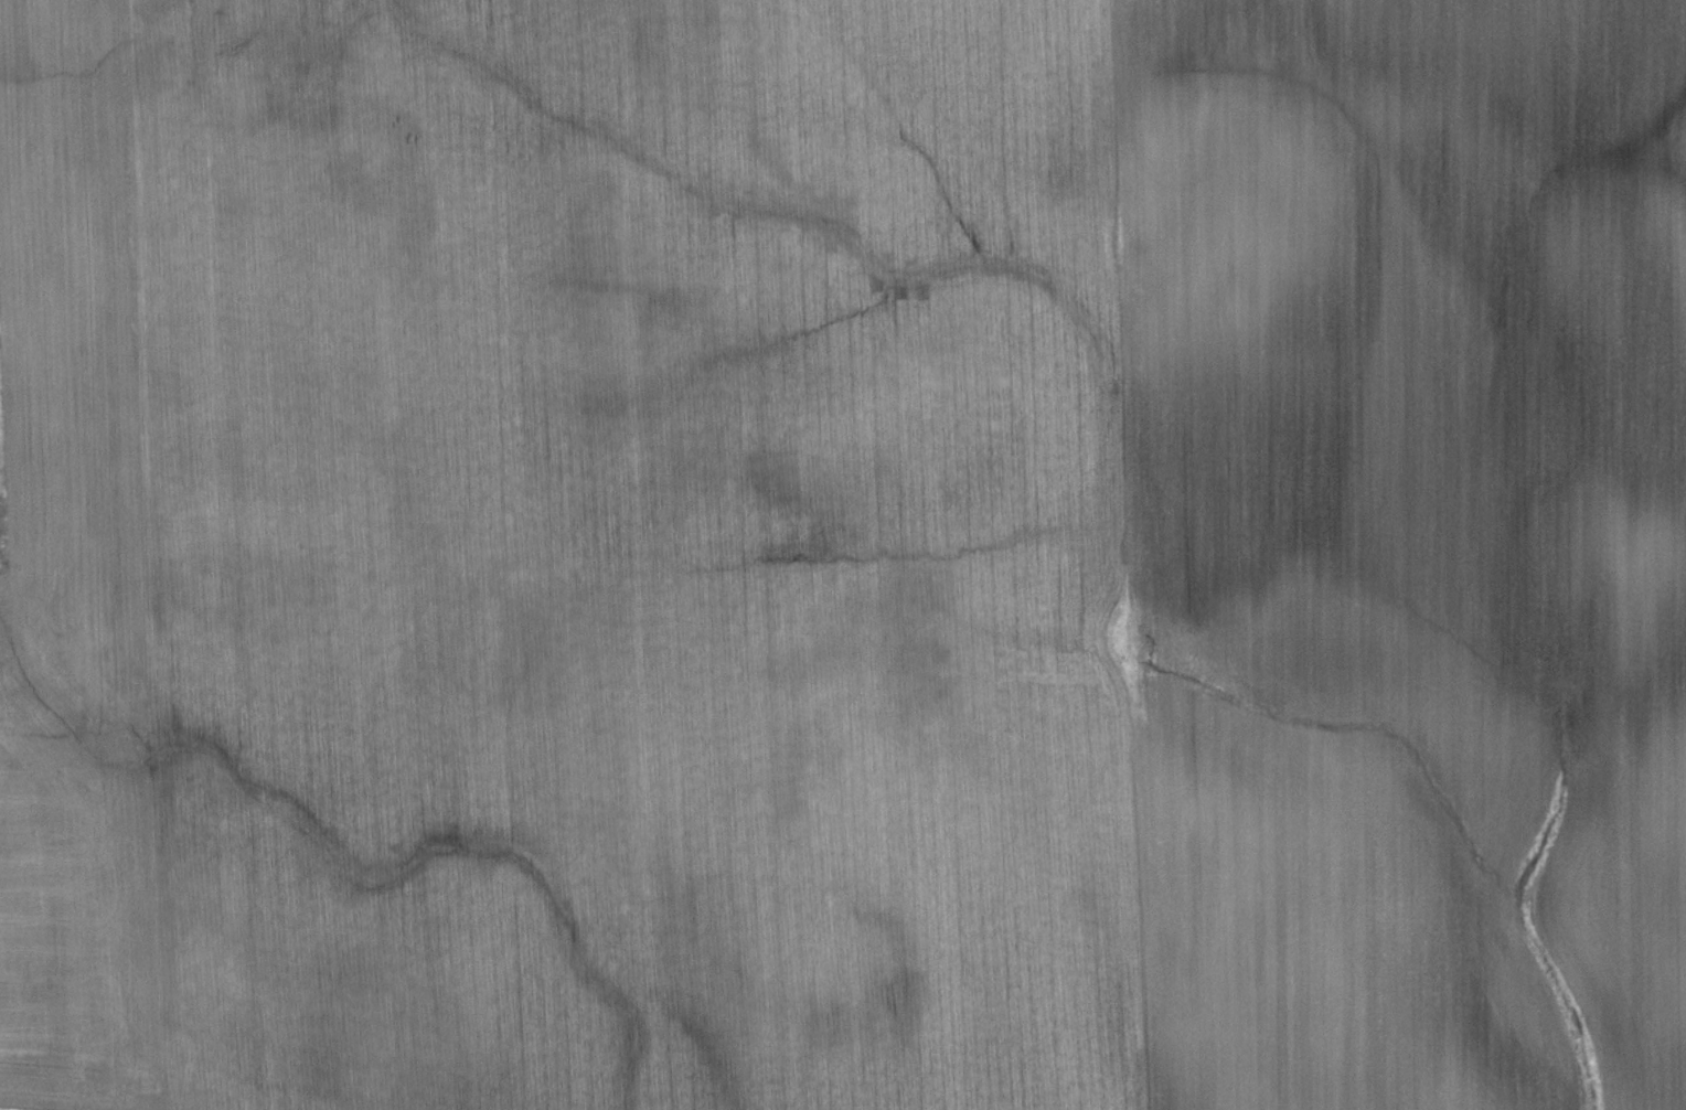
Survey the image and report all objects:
road: (330, 342)

